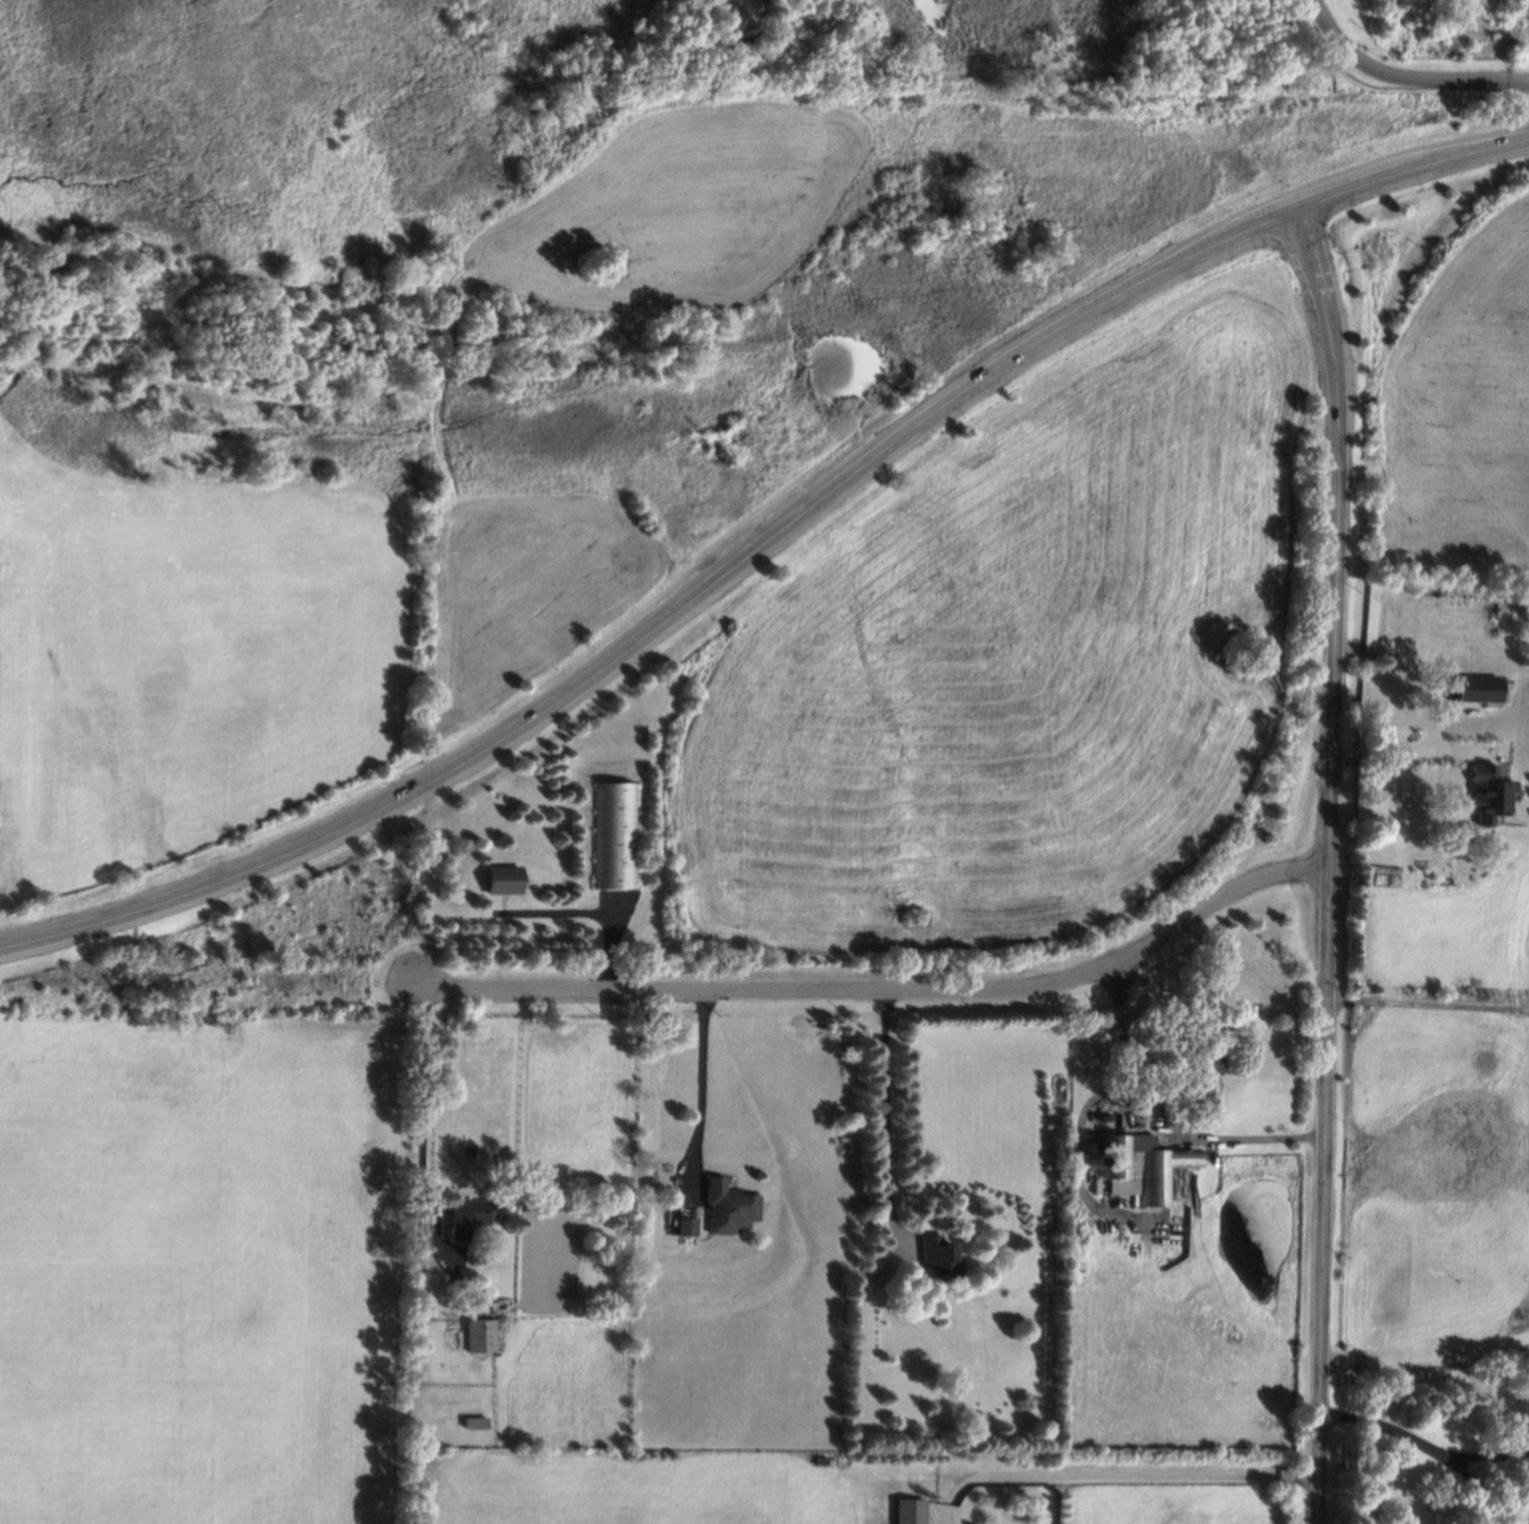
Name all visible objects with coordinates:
road: (1406, 76)
road: (1340, 458)
road: (764, 544)
building: (1480, 690)
road: (1407, 750)
building: (1490, 794)
building: (616, 836)
building: (506, 881)
road: (887, 990)
road: (1429, 1002)
road: (1125, 1071)
road: (704, 1100)
road: (888, 1116)
road: (1326, 1119)
road: (1255, 1138)
building: (1146, 1165)
building: (733, 1207)
building: (467, 1217)
building: (691, 1227)
building: (941, 1257)
building: (484, 1335)
road: (1431, 1449)
road: (1491, 1455)
road: (1116, 1474)
building: (911, 1511)

